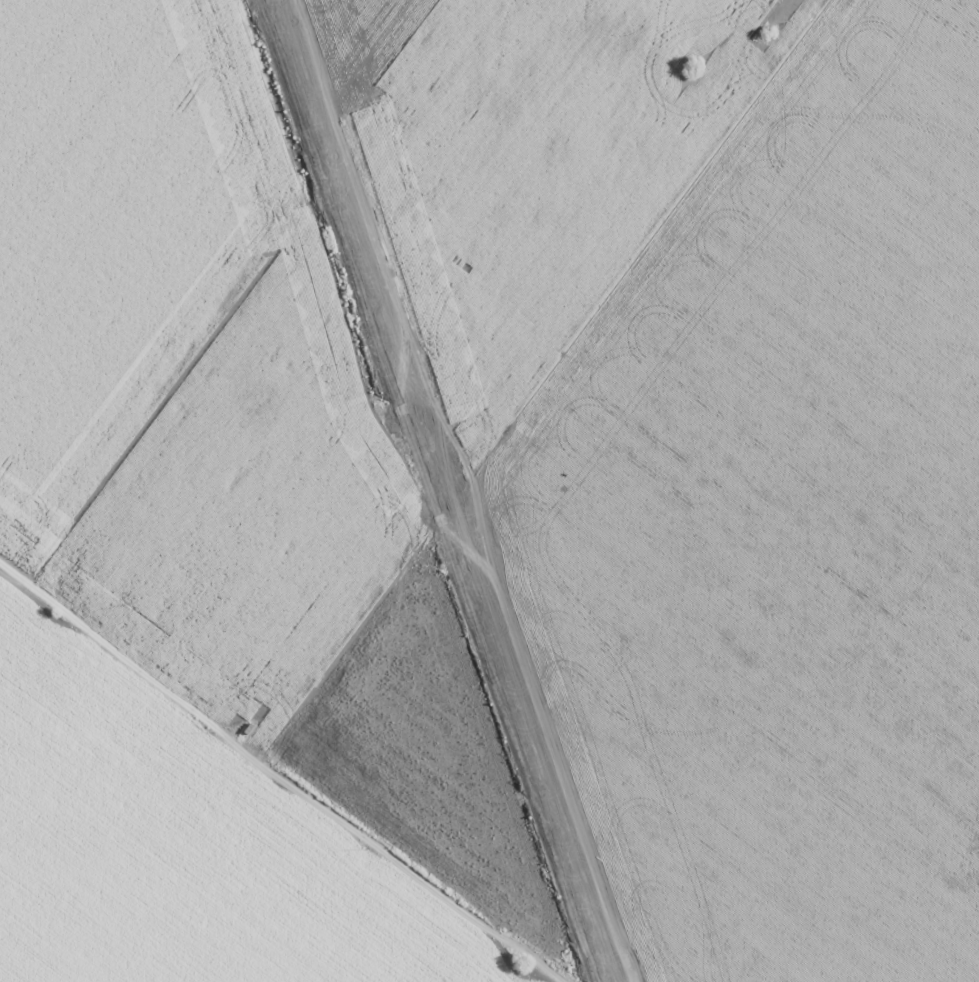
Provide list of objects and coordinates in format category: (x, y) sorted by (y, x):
crop: (489, 491)

